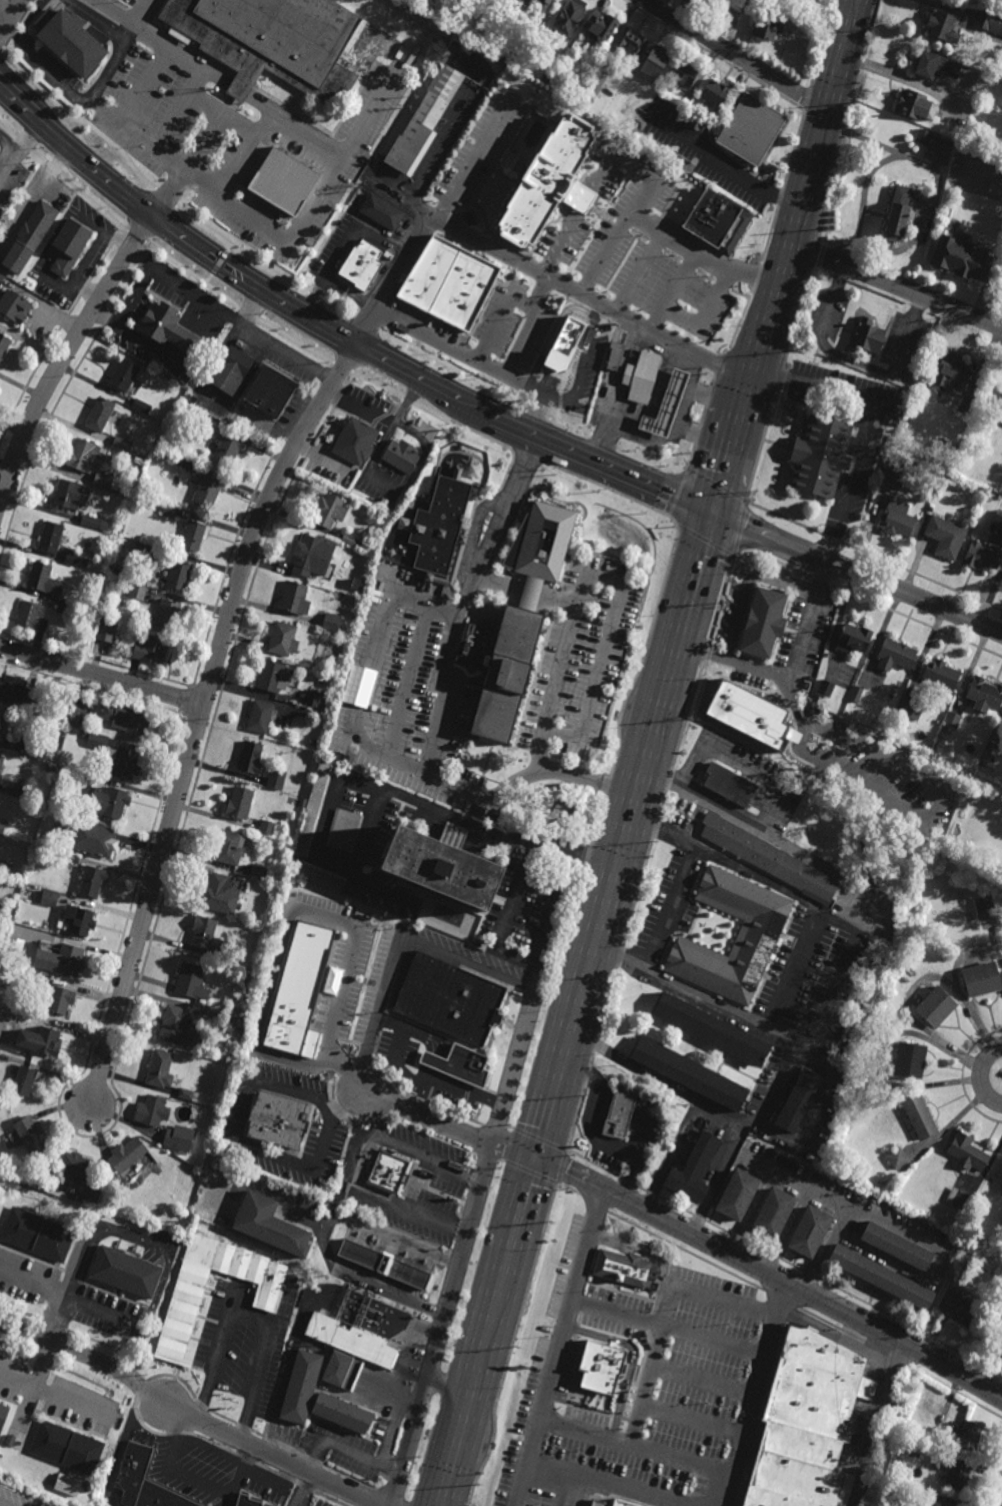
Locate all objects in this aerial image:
building: (556, 0)
building: (746, 1)
building: (1000, 3)
building: (544, 4)
road: (138, 12)
road: (3, 13)
road: (8, 13)
building: (525, 16)
building: (570, 17)
building: (989, 21)
road: (25, 24)
road: (97, 24)
building: (769, 24)
building: (599, 25)
building: (942, 27)
building: (380, 40)
building: (272, 41)
building: (69, 42)
building: (629, 42)
road: (841, 54)
road: (734, 55)
building: (654, 61)
building: (936, 66)
road: (887, 72)
building: (682, 75)
road: (73, 93)
building: (713, 93)
road: (199, 95)
building: (588, 98)
power tower: (859, 102)
building: (915, 106)
road: (130, 116)
building: (424, 121)
building: (751, 130)
road: (300, 136)
building: (923, 138)
road: (726, 164)
building: (288, 170)
park: (977, 176)
road: (205, 177)
building: (540, 177)
road: (642, 197)
road: (583, 200)
building: (712, 204)
building: (383, 213)
building: (899, 215)
road: (794, 229)
power tower: (826, 229)
road: (285, 234)
building: (29, 238)
road: (559, 242)
road: (342, 243)
building: (67, 247)
road: (701, 258)
building: (962, 260)
road: (526, 264)
building: (362, 266)
building: (1, 277)
road: (840, 277)
building: (450, 285)
road: (896, 286)
road: (182, 289)
building: (14, 307)
road: (250, 307)
road: (829, 310)
road: (527, 324)
building: (169, 331)
road: (131, 335)
road: (338, 335)
building: (869, 338)
road: (182, 340)
building: (4, 344)
road: (266, 345)
building: (568, 352)
road: (67, 353)
power tower: (792, 354)
road: (587, 355)
building: (614, 356)
road: (477, 357)
building: (232, 370)
road: (619, 373)
building: (951, 373)
road: (890, 374)
building: (124, 375)
building: (639, 377)
road: (753, 379)
road: (820, 387)
building: (270, 393)
road: (687, 396)
road: (553, 398)
road: (717, 398)
building: (968, 403)
building: (142, 406)
road: (361, 406)
building: (664, 406)
building: (1001, 410)
building: (99, 414)
building: (1000, 420)
building: (213, 425)
road: (740, 428)
road: (407, 429)
road: (631, 430)
road: (706, 437)
road: (662, 440)
building: (355, 441)
building: (122, 443)
building: (226, 450)
building: (820, 453)
building: (162, 454)
building: (402, 454)
building: (85, 456)
road: (322, 457)
building: (137, 460)
building: (185, 463)
building: (133, 468)
building: (899, 469)
road: (371, 471)
building: (103, 480)
road: (725, 482)
building: (126, 483)
building: (206, 487)
road: (850, 491)
building: (70, 494)
power tower: (755, 498)
building: (329, 509)
building: (169, 510)
traffic signals: (716, 517)
building: (898, 519)
building: (89, 521)
building: (441, 523)
building: (104, 525)
building: (194, 535)
building: (49, 536)
building: (945, 536)
building: (350, 539)
building: (986, 549)
building: (148, 551)
building: (308, 556)
building: (72, 557)
building: (457, 557)
building: (178, 574)
road: (859, 574)
building: (44, 581)
road: (499, 583)
building: (137, 591)
road: (531, 593)
building: (295, 597)
power tower: (724, 599)
building: (61, 609)
building: (168, 614)
building: (30, 616)
building: (103, 621)
building: (332, 621)
building: (517, 622)
building: (763, 622)
road: (811, 628)
building: (854, 638)
building: (283, 639)
road: (604, 649)
building: (151, 650)
building: (896, 655)
road: (557, 667)
road: (369, 670)
building: (940, 674)
road: (101, 676)
building: (273, 677)
building: (826, 689)
building: (16, 692)
building: (856, 694)
building: (984, 694)
building: (89, 703)
building: (321, 703)
building: (744, 706)
building: (909, 709)
road: (443, 715)
building: (261, 716)
road: (199, 718)
building: (126, 720)
power tower: (692, 720)
building: (820, 720)
building: (953, 720)
building: (3, 723)
building: (997, 736)
building: (95, 740)
building: (312, 743)
building: (33, 747)
building: (254, 759)
road: (743, 762)
building: (124, 763)
building: (1, 766)
building: (49, 768)
road: (897, 770)
building: (276, 779)
building: (84, 783)
building: (729, 785)
building: (22, 787)
road: (389, 793)
building: (107, 801)
building: (240, 803)
building: (314, 810)
park: (572, 812)
building: (270, 825)
building: (2, 829)
building: (344, 830)
road: (369, 831)
building: (93, 840)
road: (626, 840)
power tower: (655, 846)
building: (230, 848)
road: (790, 848)
building: (70, 859)
building: (770, 859)
building: (439, 864)
building: (5, 870)
building: (258, 873)
building: (321, 876)
building: (92, 882)
road: (783, 891)
building: (222, 894)
building: (49, 899)
building: (984, 907)
building: (3, 912)
road: (304, 912)
building: (78, 920)
building: (207, 936)
road: (399, 946)
building: (753, 946)
road: (496, 948)
road: (620, 957)
building: (69, 959)
power tower: (619, 970)
building: (46, 979)
building: (981, 981)
building: (192, 983)
building: (297, 984)
road: (832, 993)
building: (450, 1000)
building: (59, 1002)
building: (936, 1008)
building: (30, 1019)
building: (239, 1022)
road: (764, 1025)
building: (179, 1031)
building: (712, 1031)
building: (224, 1032)
building: (47, 1042)
building: (910, 1060)
building: (460, 1065)
building: (161, 1069)
building: (689, 1072)
road: (981, 1075)
building: (23, 1078)
road: (465, 1090)
building: (186, 1092)
road: (418, 1093)
power tower: (586, 1094)
road: (689, 1095)
building: (798, 1099)
building: (152, 1109)
building: (620, 1111)
building: (920, 1116)
road: (719, 1117)
building: (278, 1119)
road: (451, 1128)
building: (31, 1133)
road: (593, 1133)
building: (172, 1138)
road: (412, 1151)
building: (127, 1152)
building: (967, 1152)
building: (898, 1158)
traffic signals: (537, 1164)
building: (694, 1168)
building: (388, 1172)
building: (82, 1175)
building: (1000, 1175)
building: (1001, 1184)
building: (737, 1194)
road: (380, 1200)
road: (838, 1200)
building: (963, 1200)
building: (773, 1212)
building: (177, 1219)
building: (1001, 1221)
power tower: (551, 1222)
building: (270, 1224)
road: (323, 1227)
building: (1001, 1227)
building: (810, 1231)
building: (36, 1234)
road: (134, 1236)
road: (409, 1242)
road: (463, 1246)
building: (897, 1246)
road: (825, 1248)
building: (384, 1264)
building: (624, 1268)
building: (126, 1271)
road: (772, 1275)
building: (882, 1276)
building: (293, 1279)
road: (391, 1291)
road: (55, 1293)
building: (185, 1298)
road: (670, 1300)
building: (542, 1309)
building: (962, 1310)
road: (104, 1311)
road: (254, 1316)
building: (996, 1327)
road: (566, 1330)
road: (489, 1335)
building: (630, 1338)
building: (351, 1341)
power tower: (515, 1347)
building: (540, 1360)
building: (600, 1367)
building: (342, 1371)
parking lot: (665, 1377)
road: (32, 1378)
road: (449, 1385)
building: (301, 1389)
road: (754, 1393)
road: (67, 1399)
building: (342, 1413)
building: (3, 1415)
road: (188, 1415)
building: (807, 1423)
road: (876, 1423)
building: (970, 1436)
building: (10, 1441)
building: (67, 1447)
building: (938, 1454)
building: (957, 1476)
road: (198, 1478)
building: (145, 1481)
road: (271, 1482)
road: (595, 1482)
building: (67, 1485)
power tower: (475, 1486)
road: (308, 1490)
building: (248, 1501)
building: (613, 1503)
road: (3, 1504)
building: (942, 1505)

